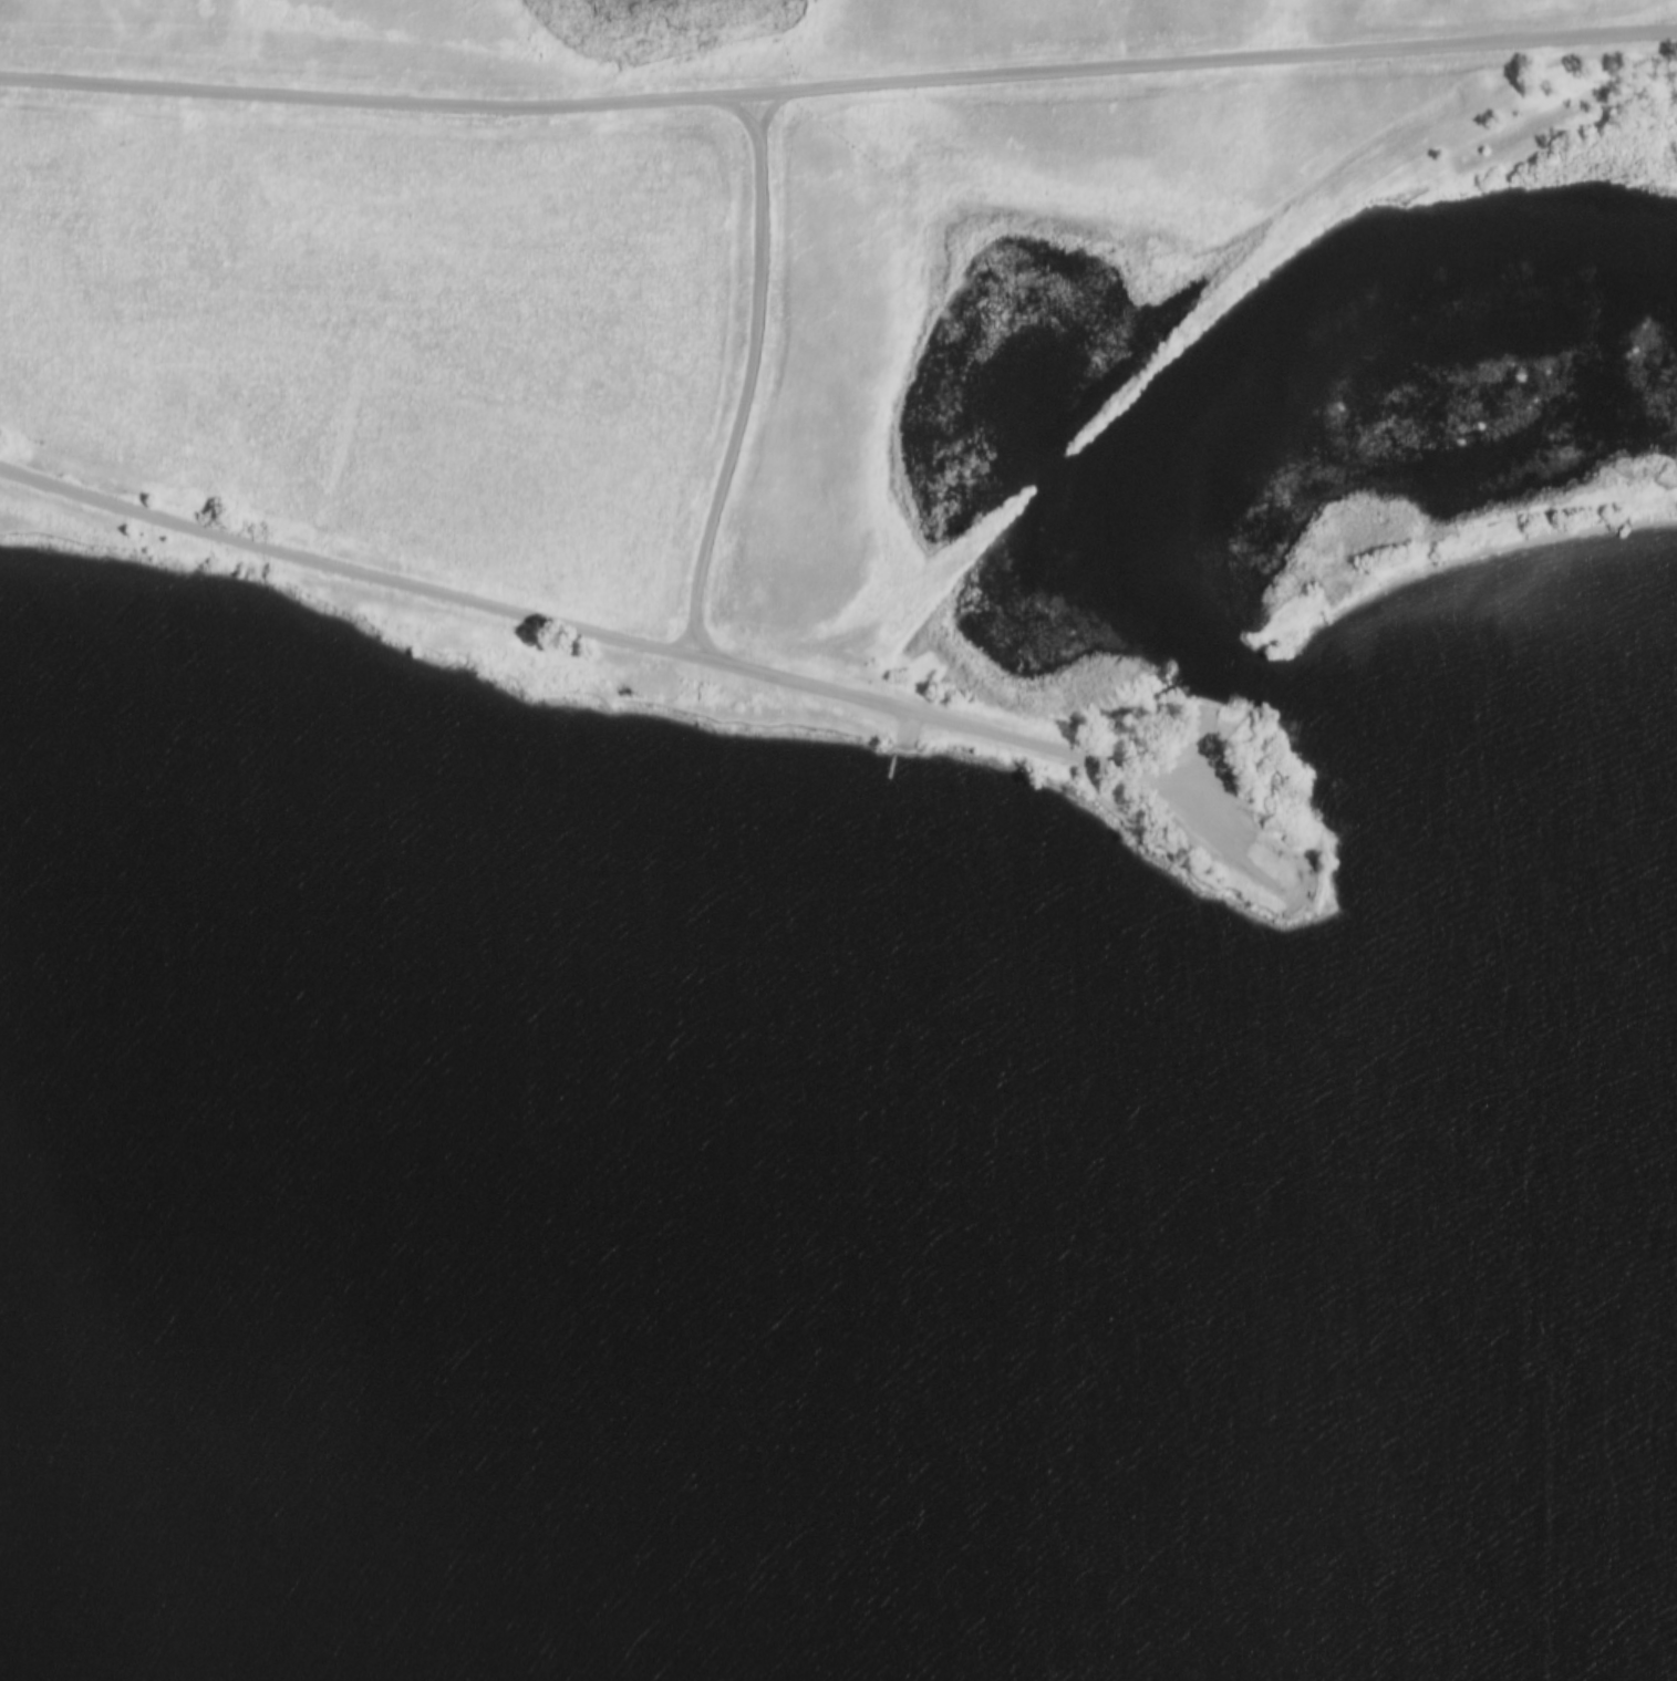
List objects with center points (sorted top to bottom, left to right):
road: (838, 94)
river: (1303, 338)
road: (753, 386)
road: (656, 657)
river: (1477, 717)
road: (907, 738)
road: (1198, 766)
pier: (891, 770)
parking lot: (1203, 812)
river: (838, 1293)

